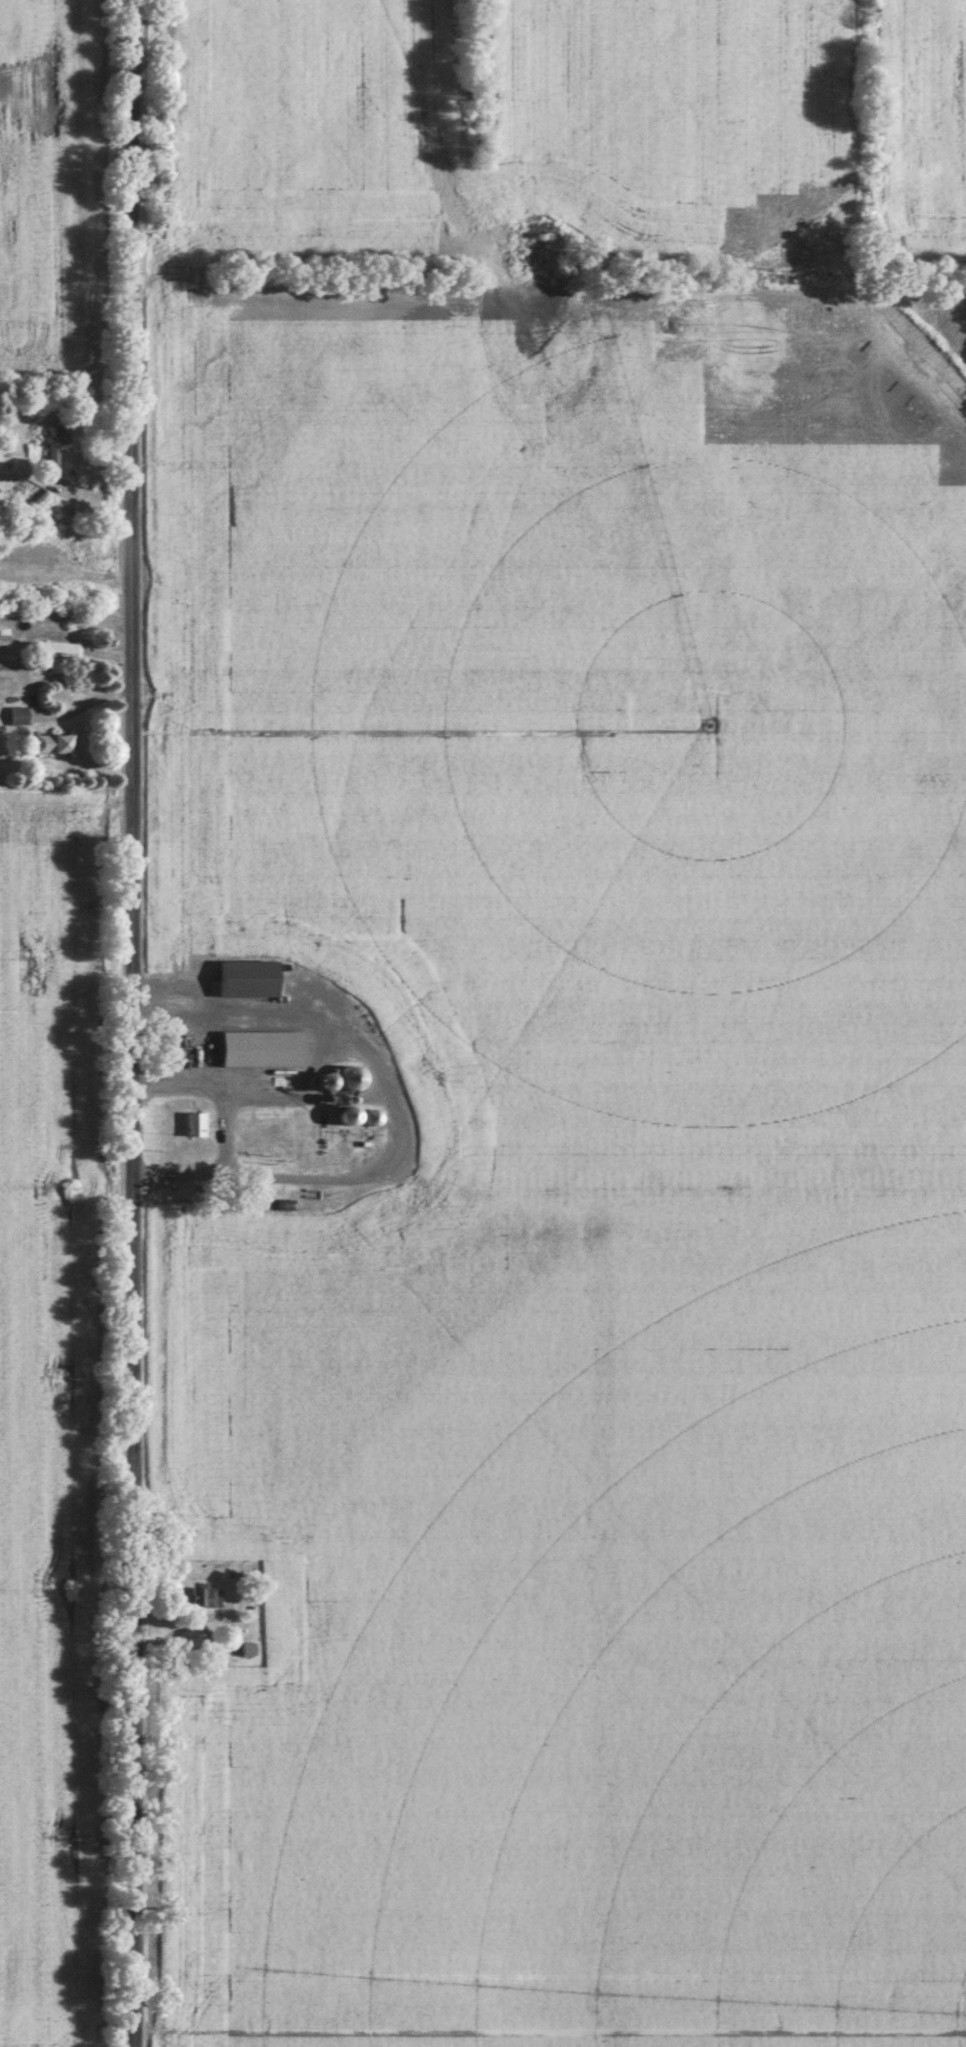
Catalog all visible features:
building: (55, 443)
building: (5, 629)
building: (54, 649)
building: (20, 717)
building: (56, 745)
road: (139, 1023)
building: (263, 1049)
building: (354, 1115)
building: (198, 1124)
building: (326, 1127)
building: (206, 1597)

